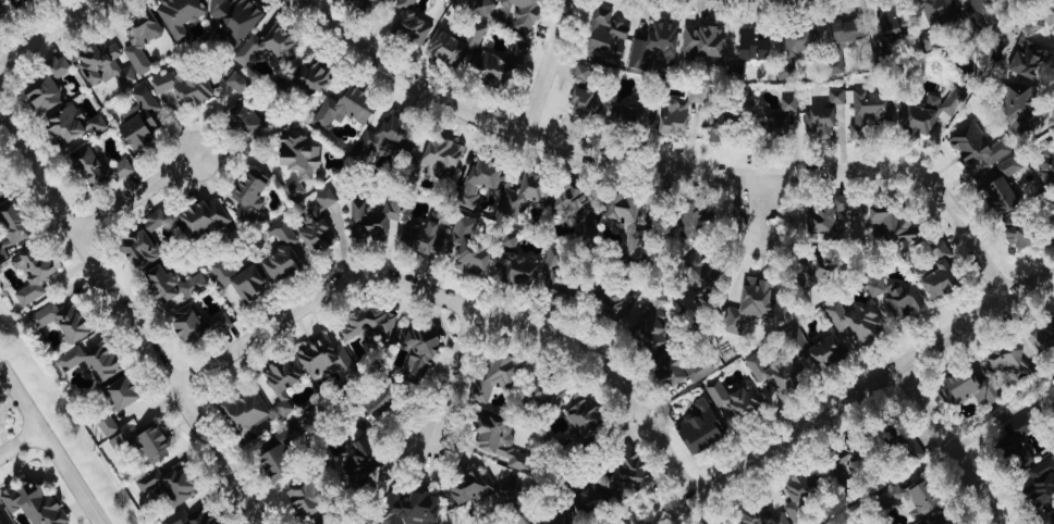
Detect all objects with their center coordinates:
building: (15, 2)
building: (980, 3)
building: (370, 4)
building: (522, 14)
building: (179, 16)
building: (1049, 16)
building: (234, 18)
building: (936, 18)
building: (409, 24)
road: (49, 32)
building: (848, 32)
building: (605, 38)
building: (140, 41)
building: (799, 41)
building: (455, 43)
building: (654, 46)
building: (752, 46)
building: (267, 47)
building: (1027, 53)
building: (834, 62)
building: (103, 65)
building: (498, 65)
road: (546, 66)
building: (59, 67)
building: (580, 73)
building: (312, 76)
building: (236, 83)
building: (181, 89)
building: (44, 95)
building: (834, 97)
building: (167, 98)
building: (344, 109)
building: (1019, 109)
building: (868, 110)
building: (608, 111)
building: (928, 113)
building: (677, 115)
building: (786, 115)
building: (247, 117)
building: (139, 121)
building: (821, 123)
building: (96, 124)
building: (721, 126)
building: (66, 128)
building: (383, 139)
building: (983, 152)
building: (441, 159)
building: (298, 162)
road: (664, 167)
building: (96, 171)
building: (1046, 174)
building: (480, 180)
building: (1, 194)
road: (135, 194)
building: (526, 194)
building: (1001, 196)
building: (247, 197)
building: (573, 201)
road: (758, 202)
building: (846, 204)
building: (696, 217)
building: (375, 220)
building: (13, 222)
building: (626, 223)
building: (318, 224)
building: (893, 225)
building: (422, 232)
building: (1018, 233)
building: (143, 241)
building: (467, 247)
building: (282, 253)
building: (515, 262)
building: (816, 265)
building: (32, 273)
building: (703, 273)
building: (554, 274)
building: (941, 275)
building: (238, 278)
building: (172, 284)
building: (897, 297)
road: (456, 301)
building: (749, 304)
road: (130, 320)
building: (63, 321)
building: (655, 321)
building: (186, 322)
building: (367, 324)
building: (1043, 335)
building: (821, 353)
building: (420, 355)
building: (323, 357)
building: (1012, 360)
building: (91, 361)
building: (503, 370)
building: (688, 370)
road: (451, 373)
building: (776, 375)
building: (281, 384)
building: (970, 387)
building: (548, 390)
building: (121, 391)
road: (850, 395)
building: (734, 399)
building: (381, 400)
building: (243, 410)
building: (584, 416)
road: (1003, 417)
building: (106, 425)
building: (699, 427)
building: (1015, 437)
road: (20, 441)
building: (142, 441)
road: (51, 444)
building: (501, 444)
road: (948, 444)
building: (280, 452)
building: (363, 465)
building: (627, 473)
building: (168, 484)
building: (1041, 485)
building: (478, 490)
building: (915, 496)
building: (306, 498)
building: (798, 498)
building: (590, 499)
building: (34, 502)
building: (413, 509)
building: (763, 515)
building: (2, 517)
building: (189, 517)
building: (541, 519)
building: (940, 519)
building: (324, 520)
building: (1050, 520)
building: (360, 523)

